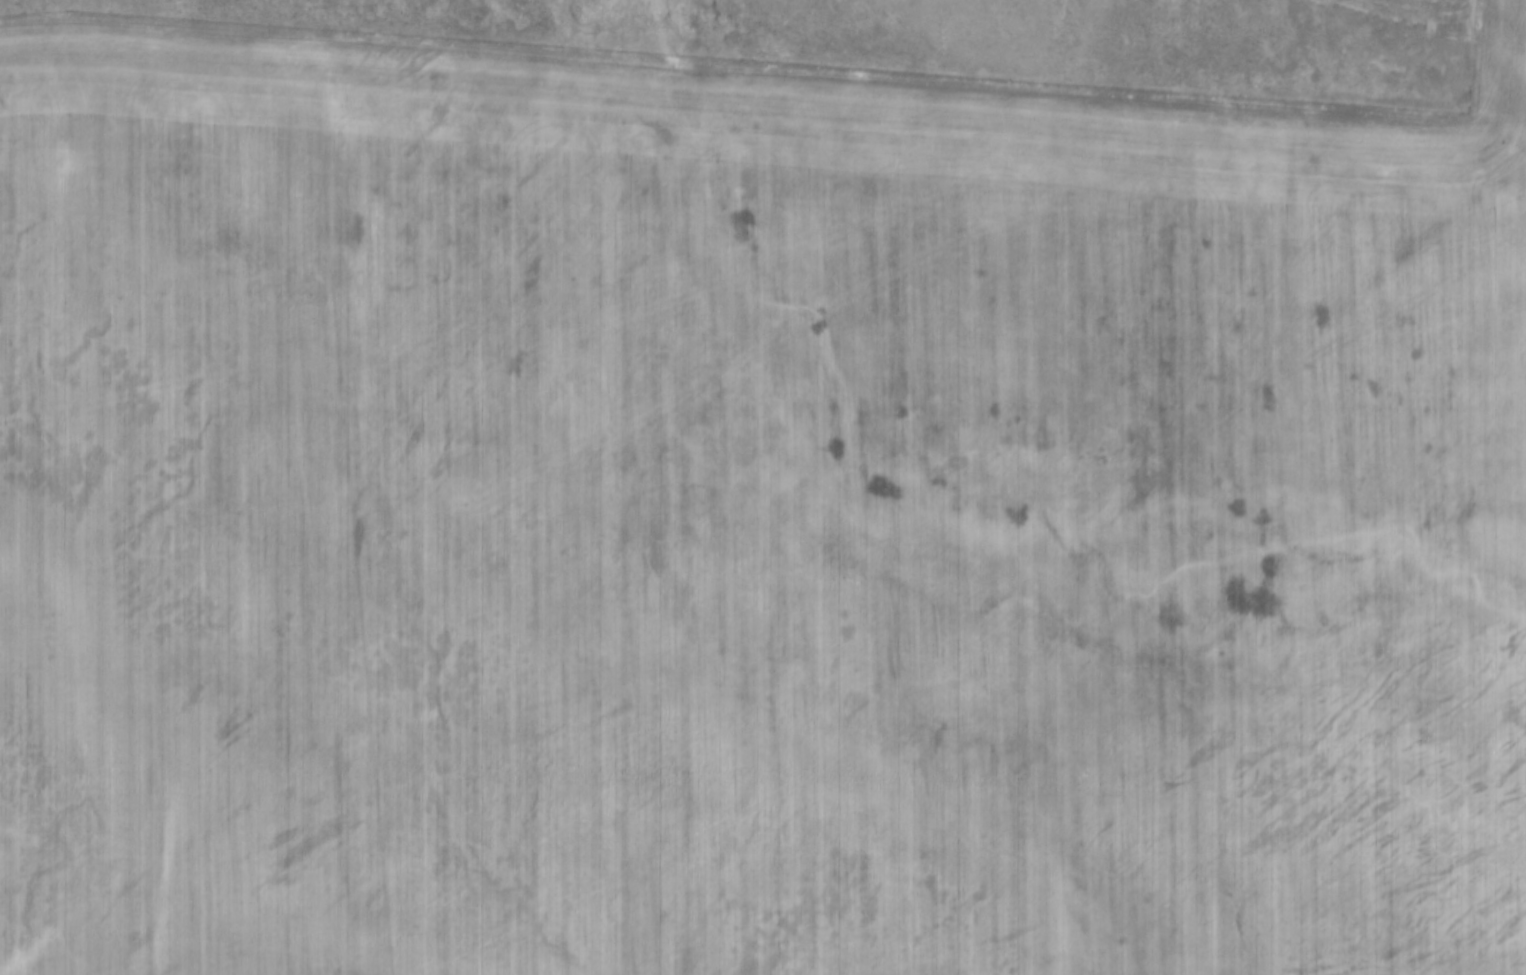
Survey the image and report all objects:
quarry: (1392, 0)

